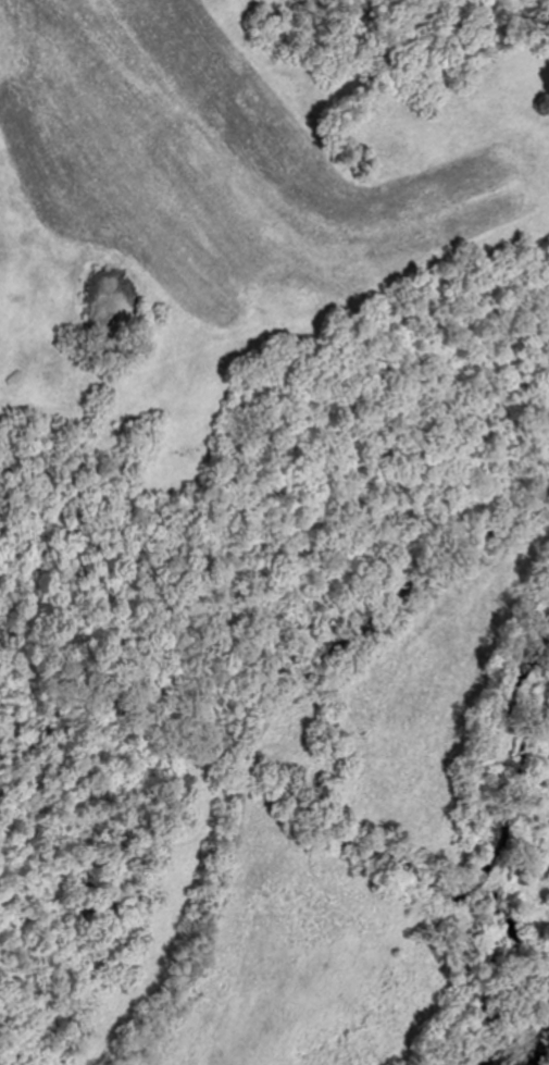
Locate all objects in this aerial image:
road: (189, 556)
road: (547, 590)
road: (264, 723)
park: (327, 734)

